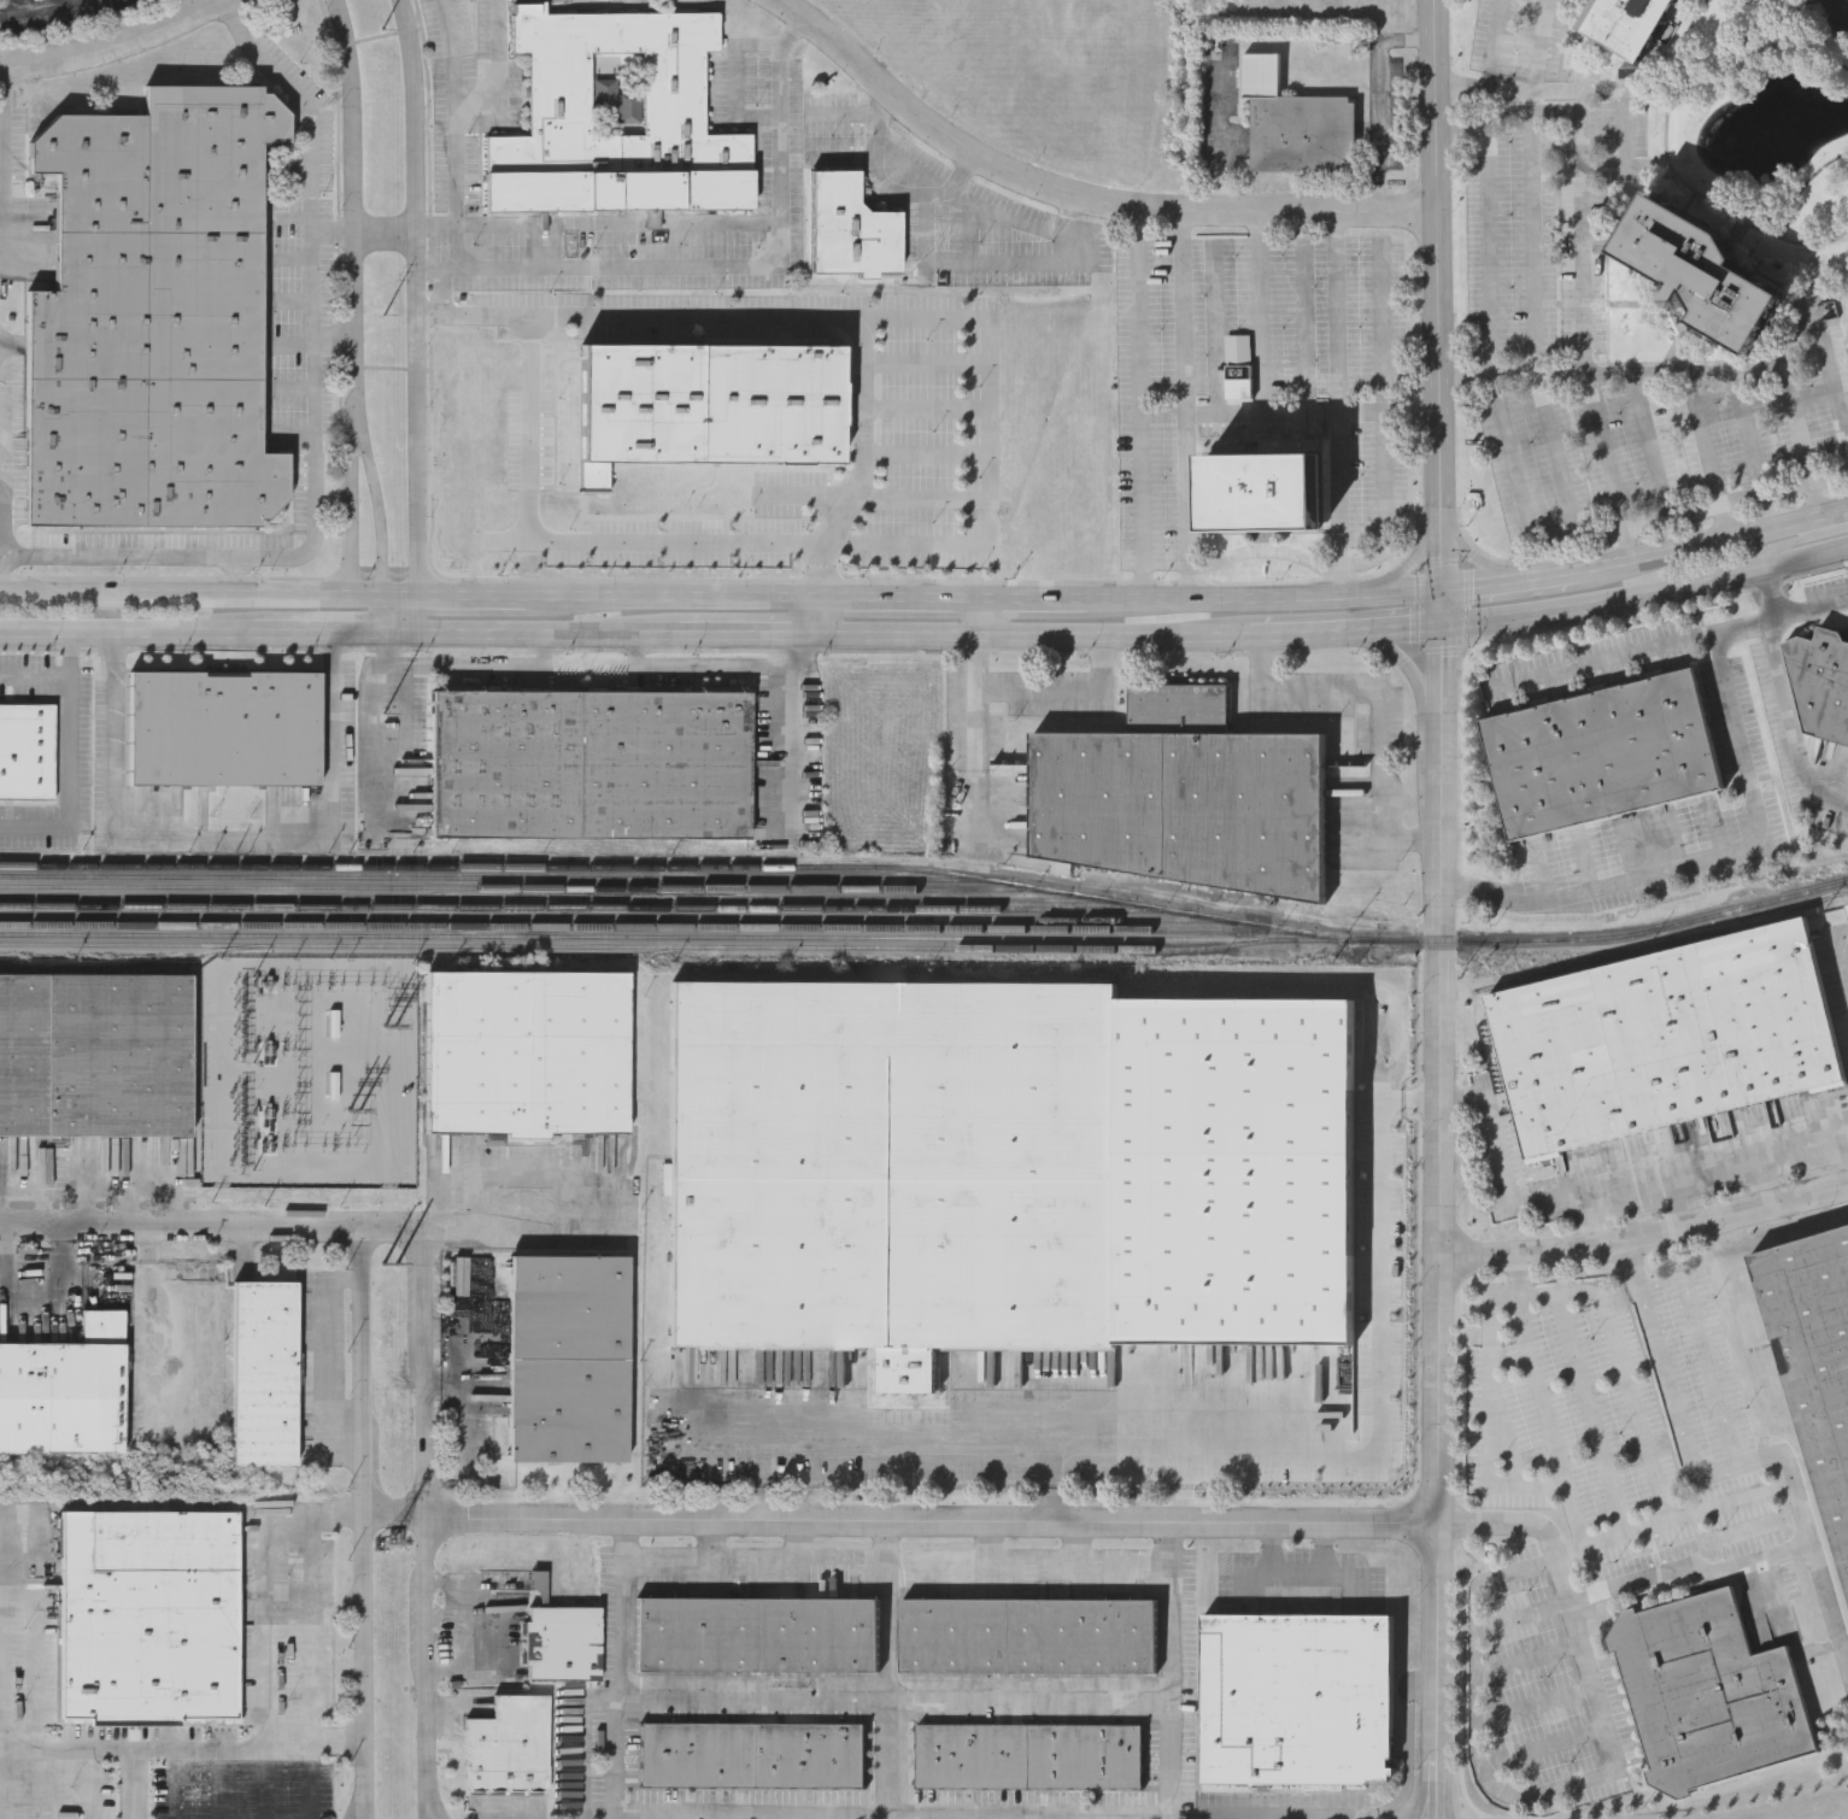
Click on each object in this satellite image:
road: (71, 1)
road: (27, 5)
road: (41, 7)
parking lot: (57, 13)
building: (1624, 23)
power tower: (381, 31)
road: (111, 42)
road: (1486, 45)
road: (1537, 45)
road: (456, 54)
road: (1378, 76)
road: (1598, 88)
road: (1532, 112)
road: (0, 117)
building: (617, 117)
road: (845, 117)
road: (460, 127)
road: (1583, 134)
building: (1306, 135)
road: (1221, 140)
road: (852, 156)
road: (963, 172)
road: (960, 190)
road: (1074, 204)
road: (616, 223)
road: (1488, 223)
building: (851, 229)
road: (333, 231)
road: (383, 231)
road: (1532, 242)
building: (617, 254)
road: (720, 263)
road: (973, 264)
building: (1696, 272)
road: (352, 294)
road: (1336, 312)
road: (1180, 315)
road: (1261, 315)
building: (156, 316)
road: (416, 316)
road: (433, 318)
road: (692, 318)
power tower: (383, 319)
road: (1791, 334)
road: (1685, 371)
road: (1586, 374)
road: (530, 398)
road: (1834, 398)
road: (793, 406)
building: (635, 407)
road: (313, 411)
road: (1186, 415)
road: (1744, 430)
road: (1649, 444)
road: (1553, 453)
road: (1709, 453)
road: (866, 465)
road: (1831, 473)
road: (1767, 489)
road: (376, 491)
building: (1263, 494)
road: (1526, 500)
road: (1338, 503)
road: (1385, 504)
road: (1181, 507)
road: (1139, 509)
road: (981, 510)
road: (1674, 514)
road: (1439, 523)
road: (1797, 539)
road: (649, 541)
road: (1712, 541)
road: (1260, 552)
road: (234, 574)
road: (1507, 582)
road: (190, 589)
traffic signals: (1437, 591)
road: (456, 593)
road: (1770, 593)
road: (668, 597)
road: (1261, 597)
road: (1644, 597)
road: (946, 599)
road: (1811, 609)
road: (382, 614)
road: (808, 616)
traffic signals: (1437, 628)
road: (1342, 630)
road: (127, 634)
road: (324, 634)
road: (536, 634)
road: (743, 634)
road: (1026, 636)
road: (1633, 653)
road: (71, 655)
road: (470, 662)
road: (1406, 662)
road: (700, 667)
road: (35, 674)
road: (1026, 681)
building: (1821, 685)
road: (1380, 706)
power tower: (386, 722)
road: (1790, 722)
building: (225, 727)
road: (797, 735)
building: (27, 751)
building: (1604, 756)
building: (593, 763)
road: (71, 782)
building: (1187, 796)
road: (225, 833)
road: (1705, 858)
railway: (929, 870)
railway: (486, 876)
railway: (521, 887)
railway: (1842, 892)
railway: (552, 899)
road: (1439, 900)
railway: (585, 908)
railway: (616, 919)
railway: (646, 928)
railway: (680, 938)
railway: (1661, 943)
railway: (636, 949)
railway: (121, 964)
railway: (1250, 991)
building: (1668, 1041)
power substation: (306, 1043)
power tower: (388, 1044)
building: (529, 1055)
building: (95, 1056)
road: (1846, 1139)
building: (1008, 1172)
road: (106, 1184)
road: (1755, 1187)
road: (1601, 1199)
road: (86, 1204)
road: (128, 1204)
road: (1682, 1207)
road: (1, 1213)
road: (211, 1225)
road: (520, 1225)
road: (1596, 1227)
road: (148, 1242)
road: (1642, 1243)
road: (5, 1256)
road: (60, 1256)
road: (149, 1266)
road: (151, 1279)
road: (75, 1287)
road: (1503, 1320)
road: (1373, 1351)
building: (569, 1359)
building: (1817, 1359)
building: (264, 1374)
road: (1684, 1385)
building: (61, 1397)
road: (1625, 1402)
road: (1565, 1413)
road: (880, 1440)
railway: (65, 1457)
road: (1115, 1469)
railway: (90, 1473)
road: (1684, 1478)
road: (897, 1521)
road: (360, 1522)
road: (429, 1522)
road: (710, 1541)
road: (802, 1541)
power tower: (393, 1542)
road: (1074, 1542)
road: (1538, 1547)
road: (753, 1561)
road: (952, 1561)
road: (1073, 1561)
road: (460, 1584)
building: (540, 1589)
road: (1684, 1600)
road: (309, 1607)
building: (151, 1618)
road: (1626, 1618)
road: (276, 1624)
road: (11, 1631)
building: (756, 1637)
building: (1026, 1638)
road: (467, 1642)
building: (564, 1645)
road: (1572, 1660)
road: (886, 1670)
road: (1168, 1671)
road: (1512, 1678)
road: (622, 1692)
building: (1709, 1696)
building: (1298, 1701)
road: (755, 1704)
road: (1028, 1706)
road: (335, 1741)
road: (36, 1747)
building: (510, 1748)
road: (276, 1753)
building: (751, 1758)
building: (1027, 1759)
road: (133, 1760)
road: (178, 1785)
road: (1618, 1796)
road: (1395, 1801)
road: (358, 1809)
road: (1424, 1811)
road: (1430, 1811)
road: (1433, 1811)
road: (870, 1813)
road: (429, 1814)

